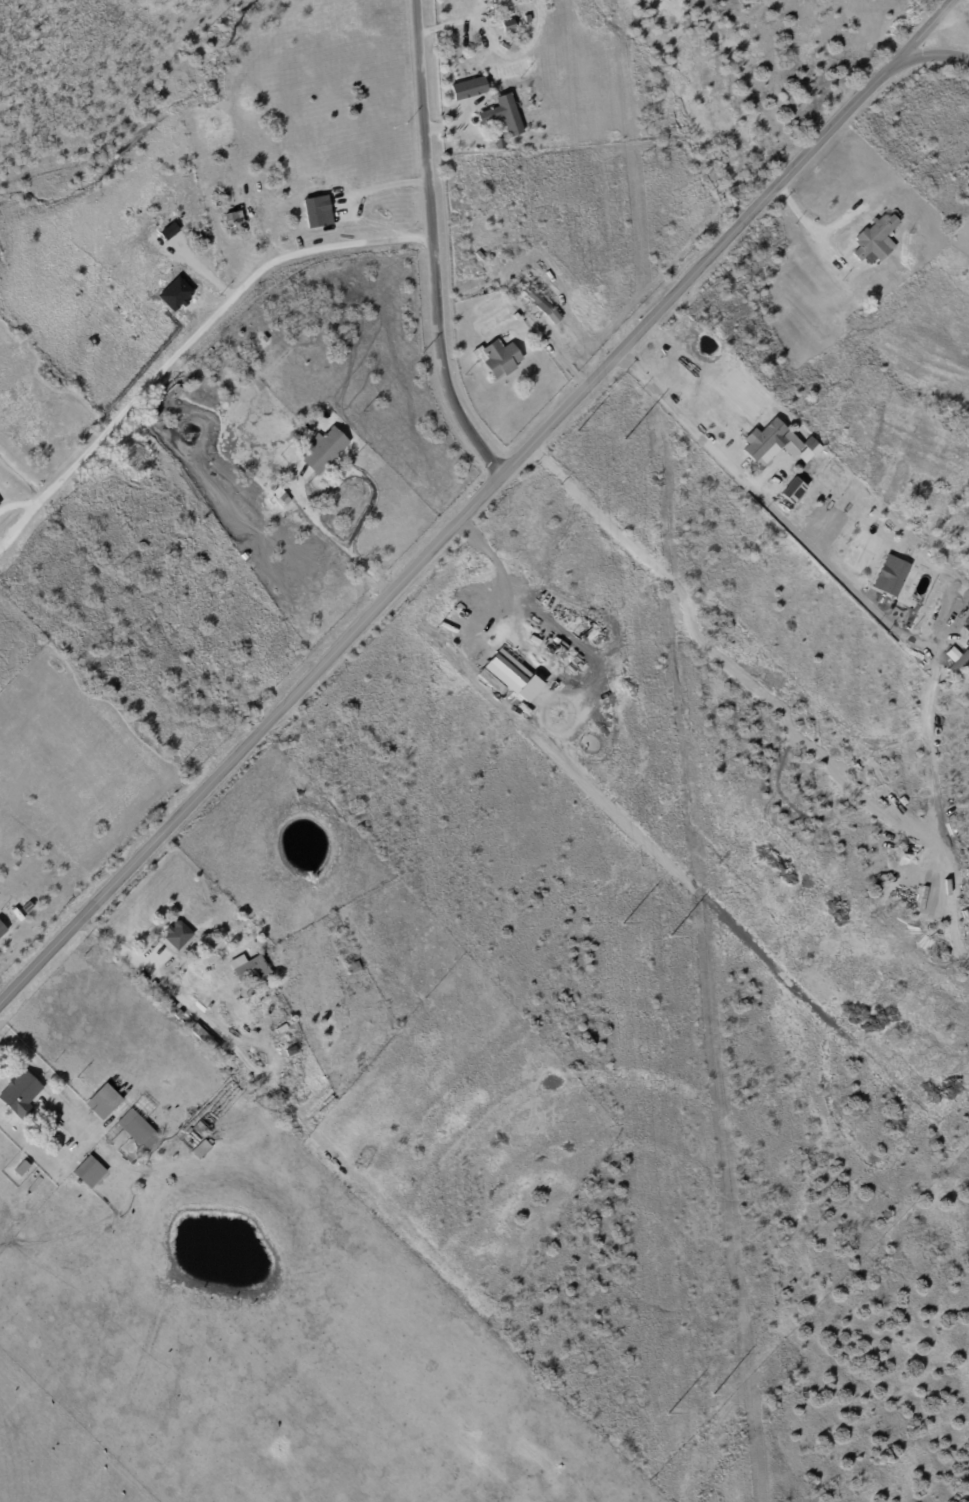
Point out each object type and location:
road: (918, 37)
road: (924, 56)
building: (470, 87)
building: (509, 115)
building: (501, 145)
road: (379, 188)
building: (315, 212)
road: (810, 226)
building: (877, 238)
road: (431, 245)
building: (536, 296)
building: (548, 308)
road: (213, 313)
building: (555, 316)
building: (499, 357)
building: (750, 435)
building: (766, 440)
building: (809, 443)
building: (324, 450)
road: (739, 478)
building: (792, 489)
building: (277, 493)
road: (333, 538)
road: (440, 539)
road: (563, 539)
building: (915, 578)
building: (896, 579)
building: (921, 602)
building: (968, 630)
building: (953, 658)
building: (962, 660)
building: (510, 674)
building: (2, 931)
building: (178, 936)
building: (354, 968)
building: (253, 972)
building: (262, 987)
road: (3, 998)
building: (170, 1007)
building: (180, 1015)
road: (207, 1026)
building: (205, 1039)
building: (20, 1093)
building: (104, 1103)
building: (203, 1127)
building: (139, 1131)
building: (59, 1135)
building: (202, 1150)
building: (20, 1169)
building: (90, 1172)

